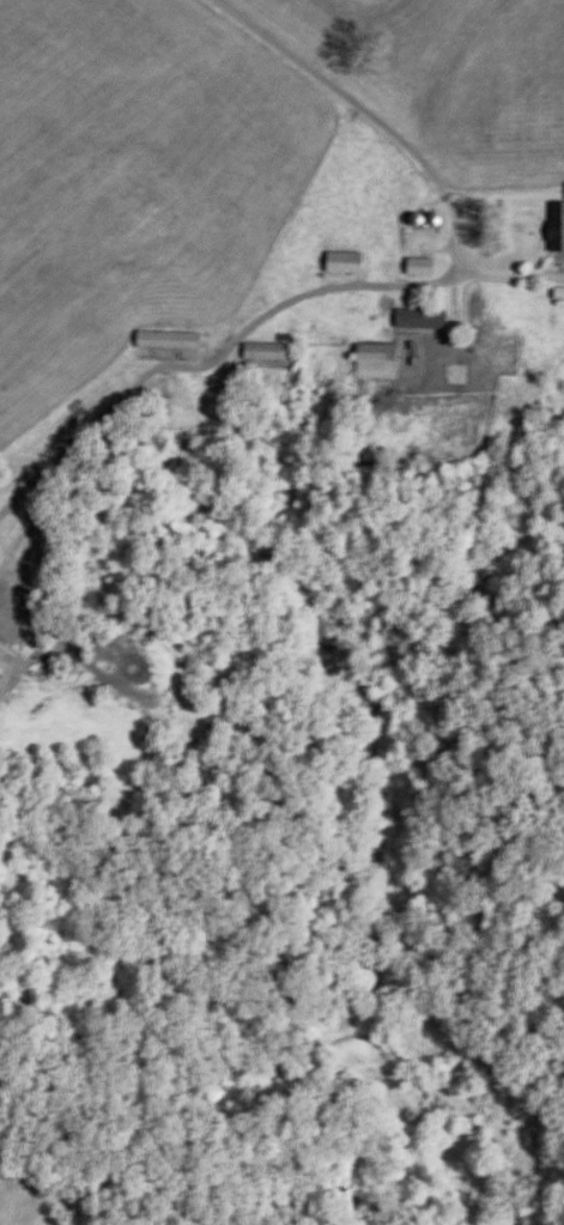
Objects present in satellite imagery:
building: (558, 225)
building: (346, 261)
building: (424, 266)
building: (423, 317)
building: (171, 338)
building: (272, 350)
building: (380, 360)
building: (2, 675)

